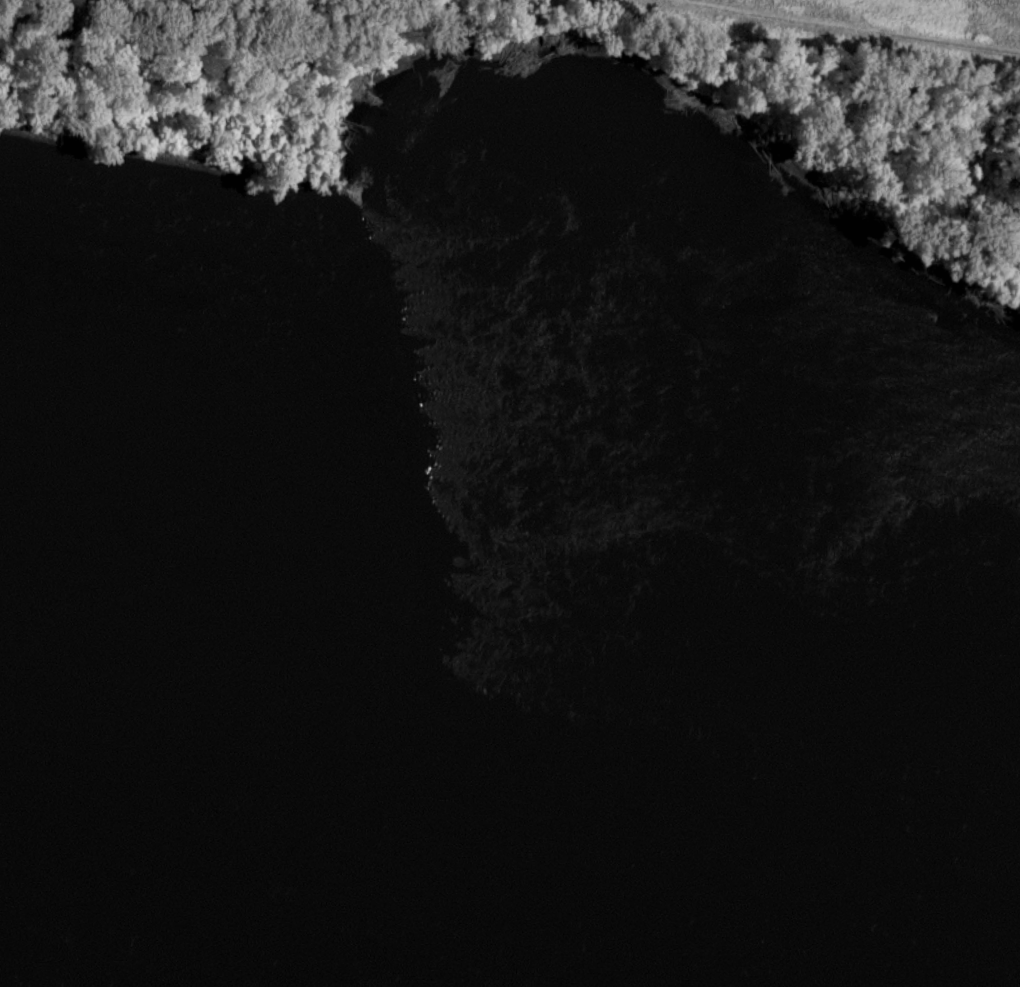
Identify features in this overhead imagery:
road: (844, 26)
river: (511, 759)

